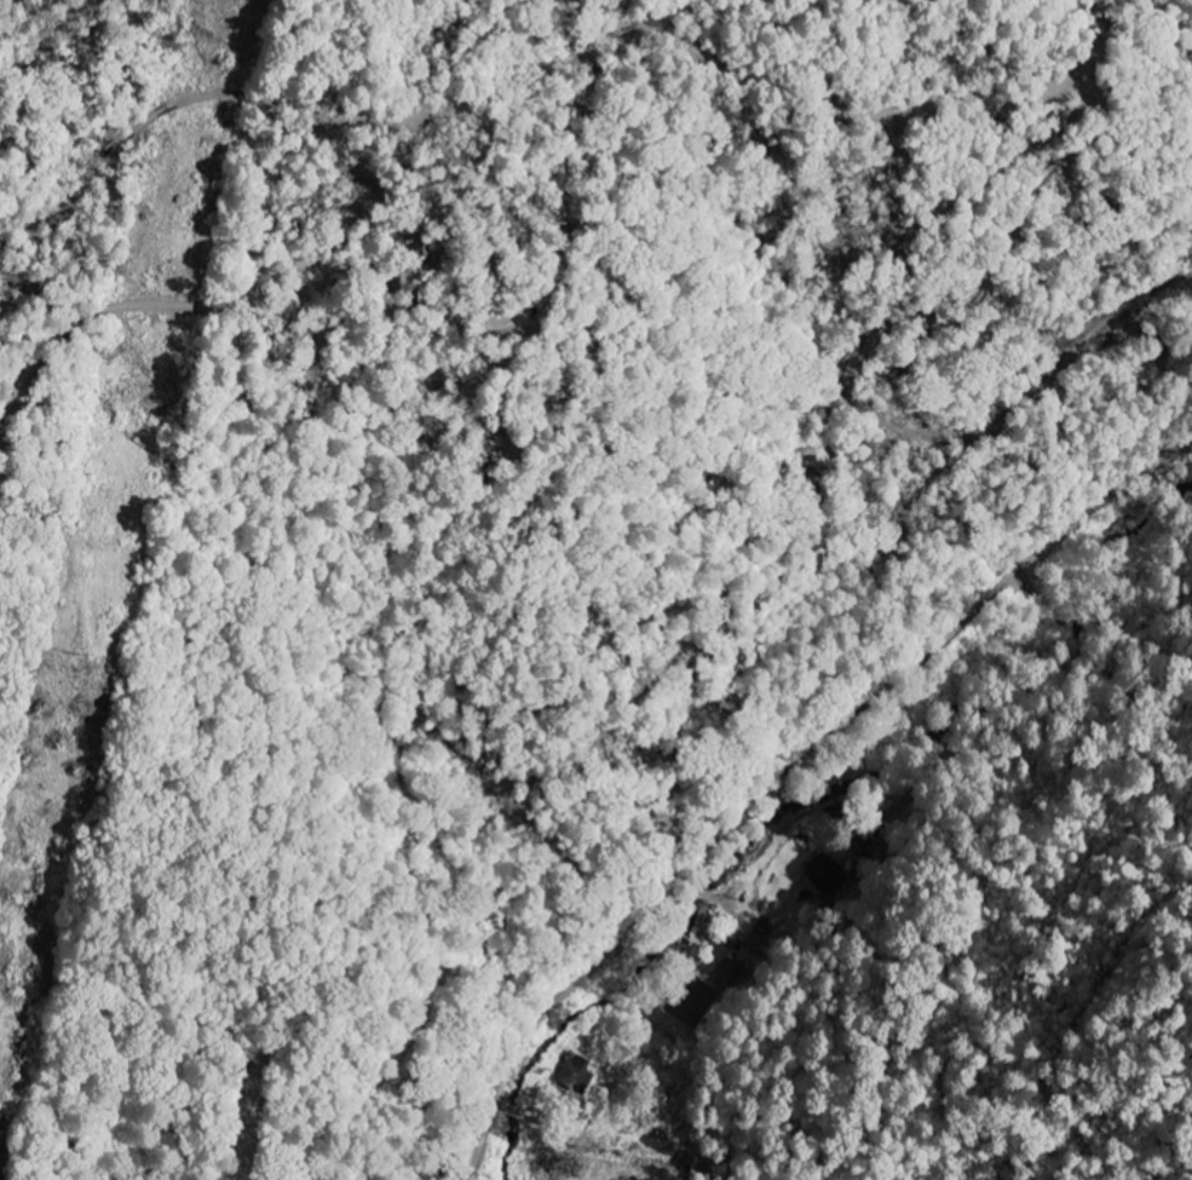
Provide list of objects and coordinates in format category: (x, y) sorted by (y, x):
building: (828, 870)
road: (685, 899)
road: (611, 956)
building: (731, 974)
road: (198, 1049)
building: (576, 1072)
road: (534, 1116)

